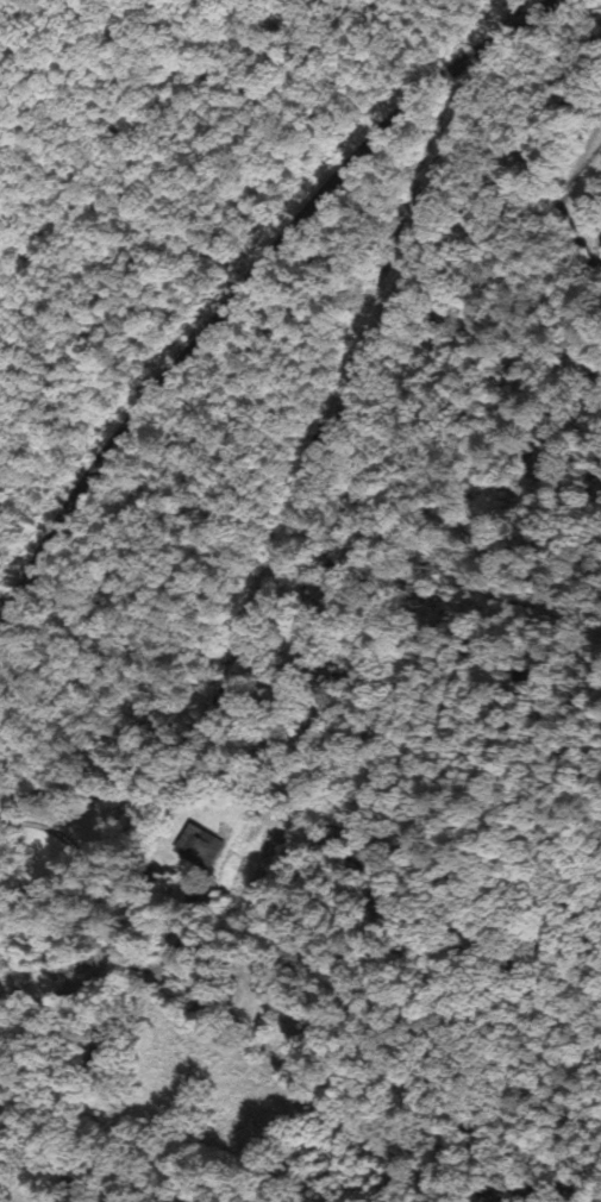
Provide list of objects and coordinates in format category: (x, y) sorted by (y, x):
road: (507, 13)
road: (515, 13)
road: (51, 42)
road: (246, 289)
building: (205, 847)

